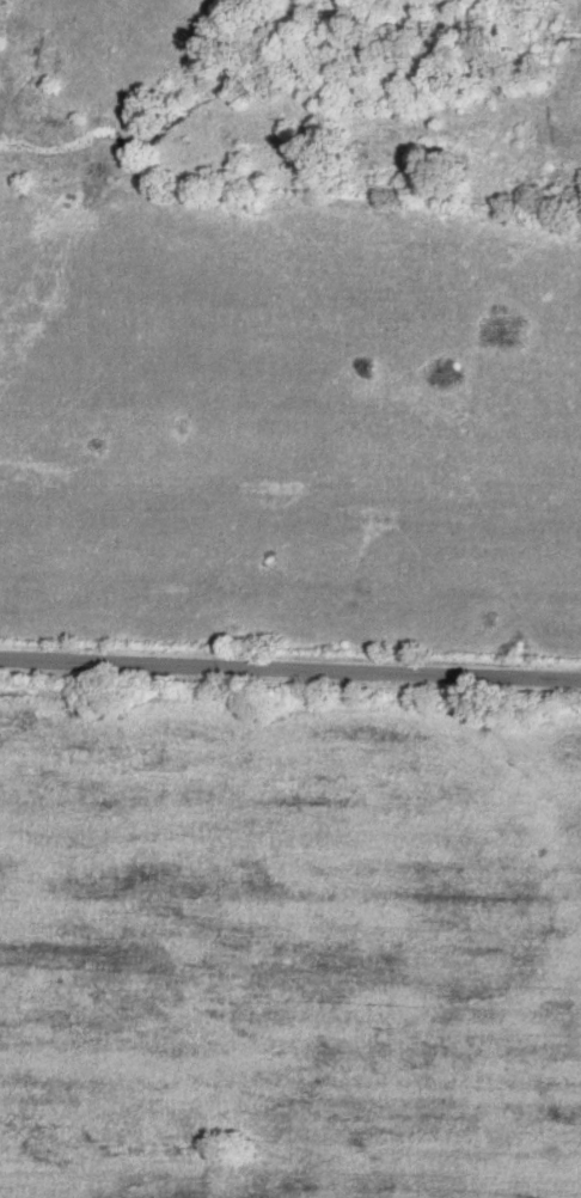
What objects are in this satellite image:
road: (290, 670)

